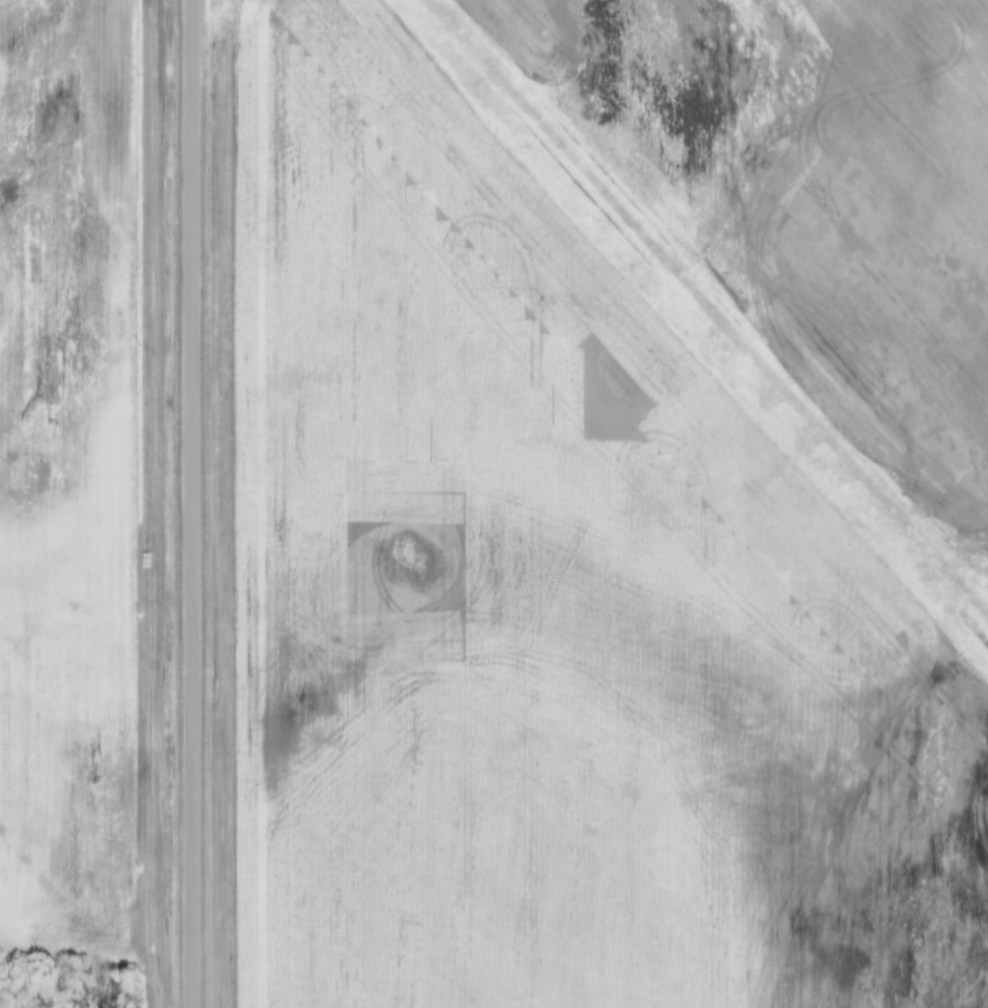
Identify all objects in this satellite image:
road: (198, 503)

